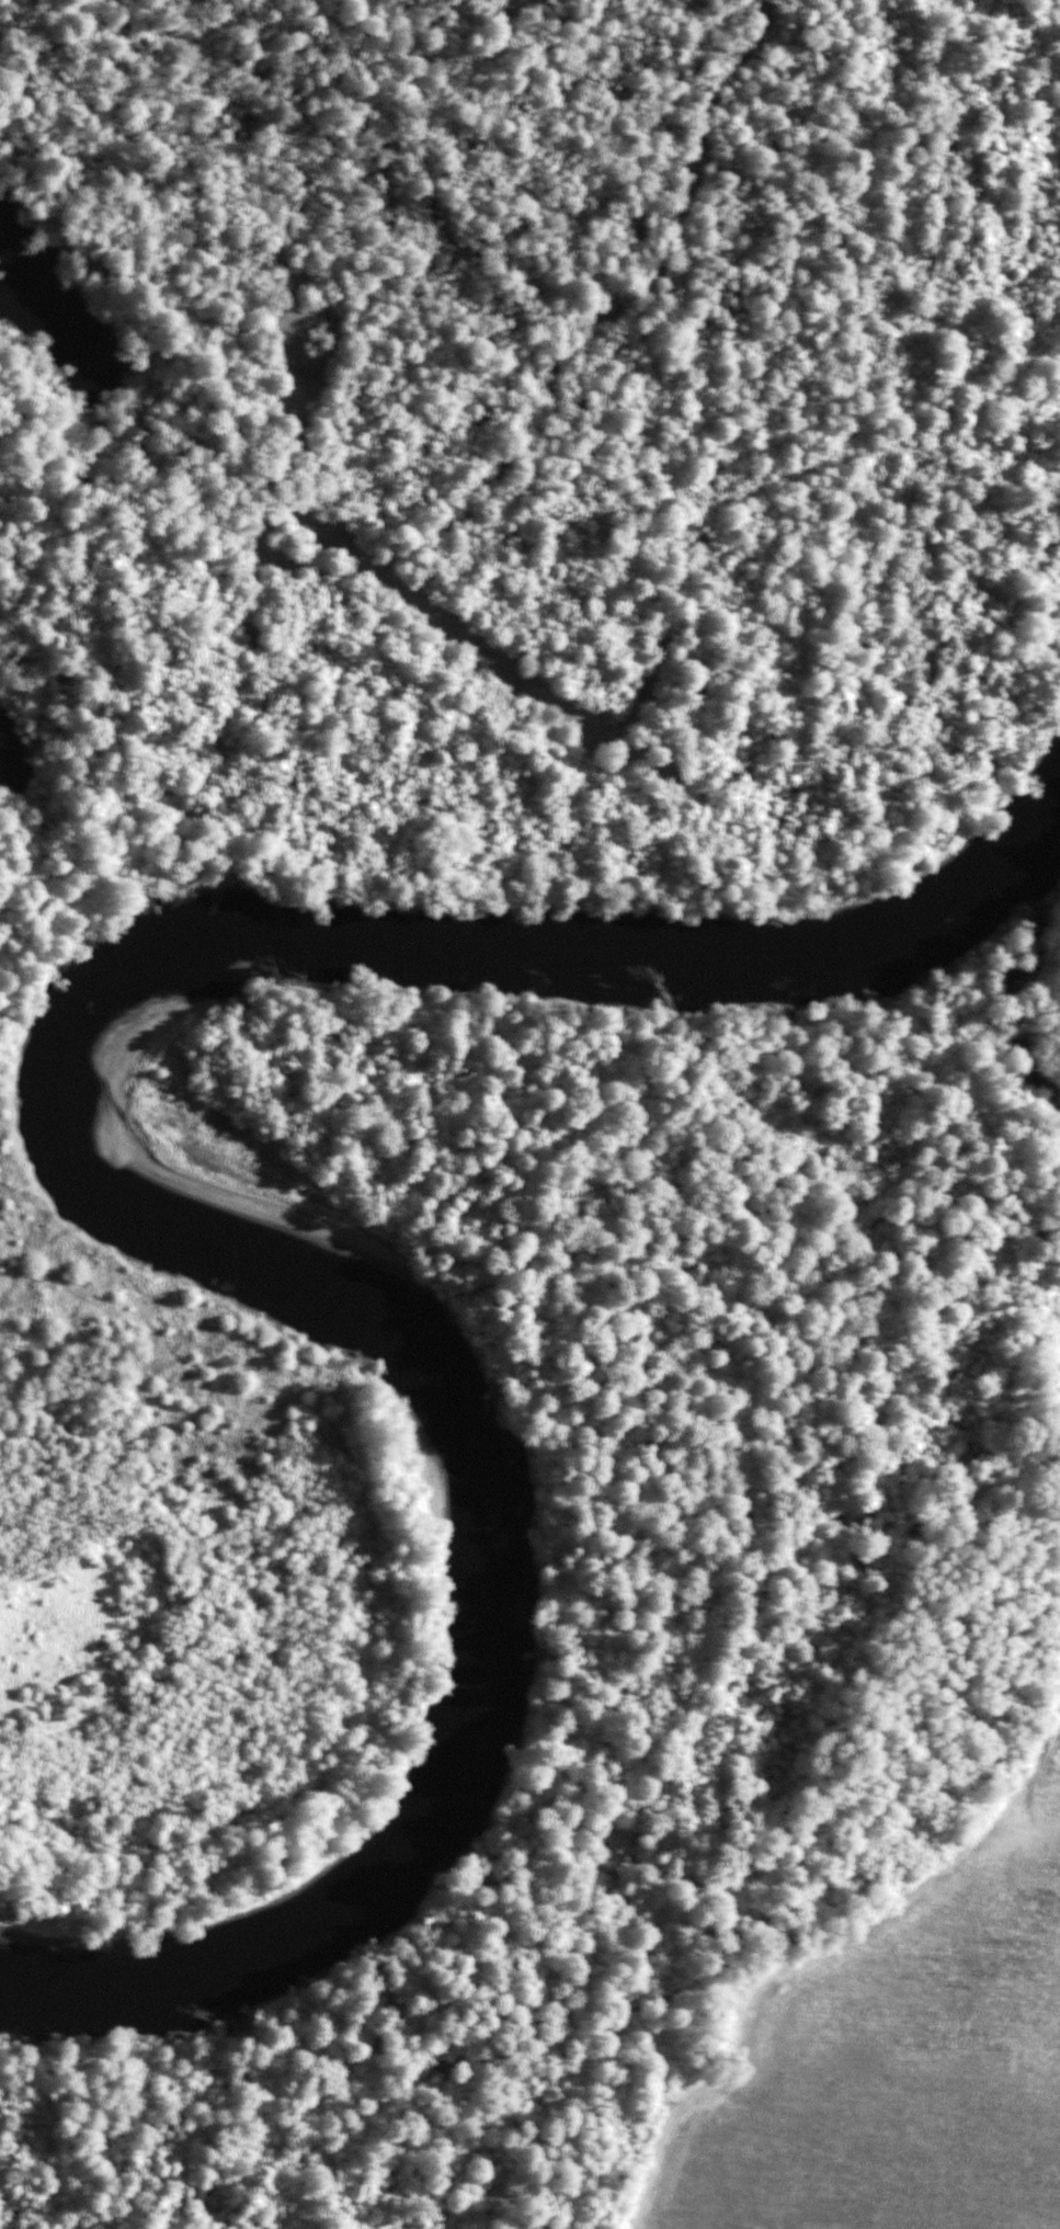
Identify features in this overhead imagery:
river: (189, 1185)

